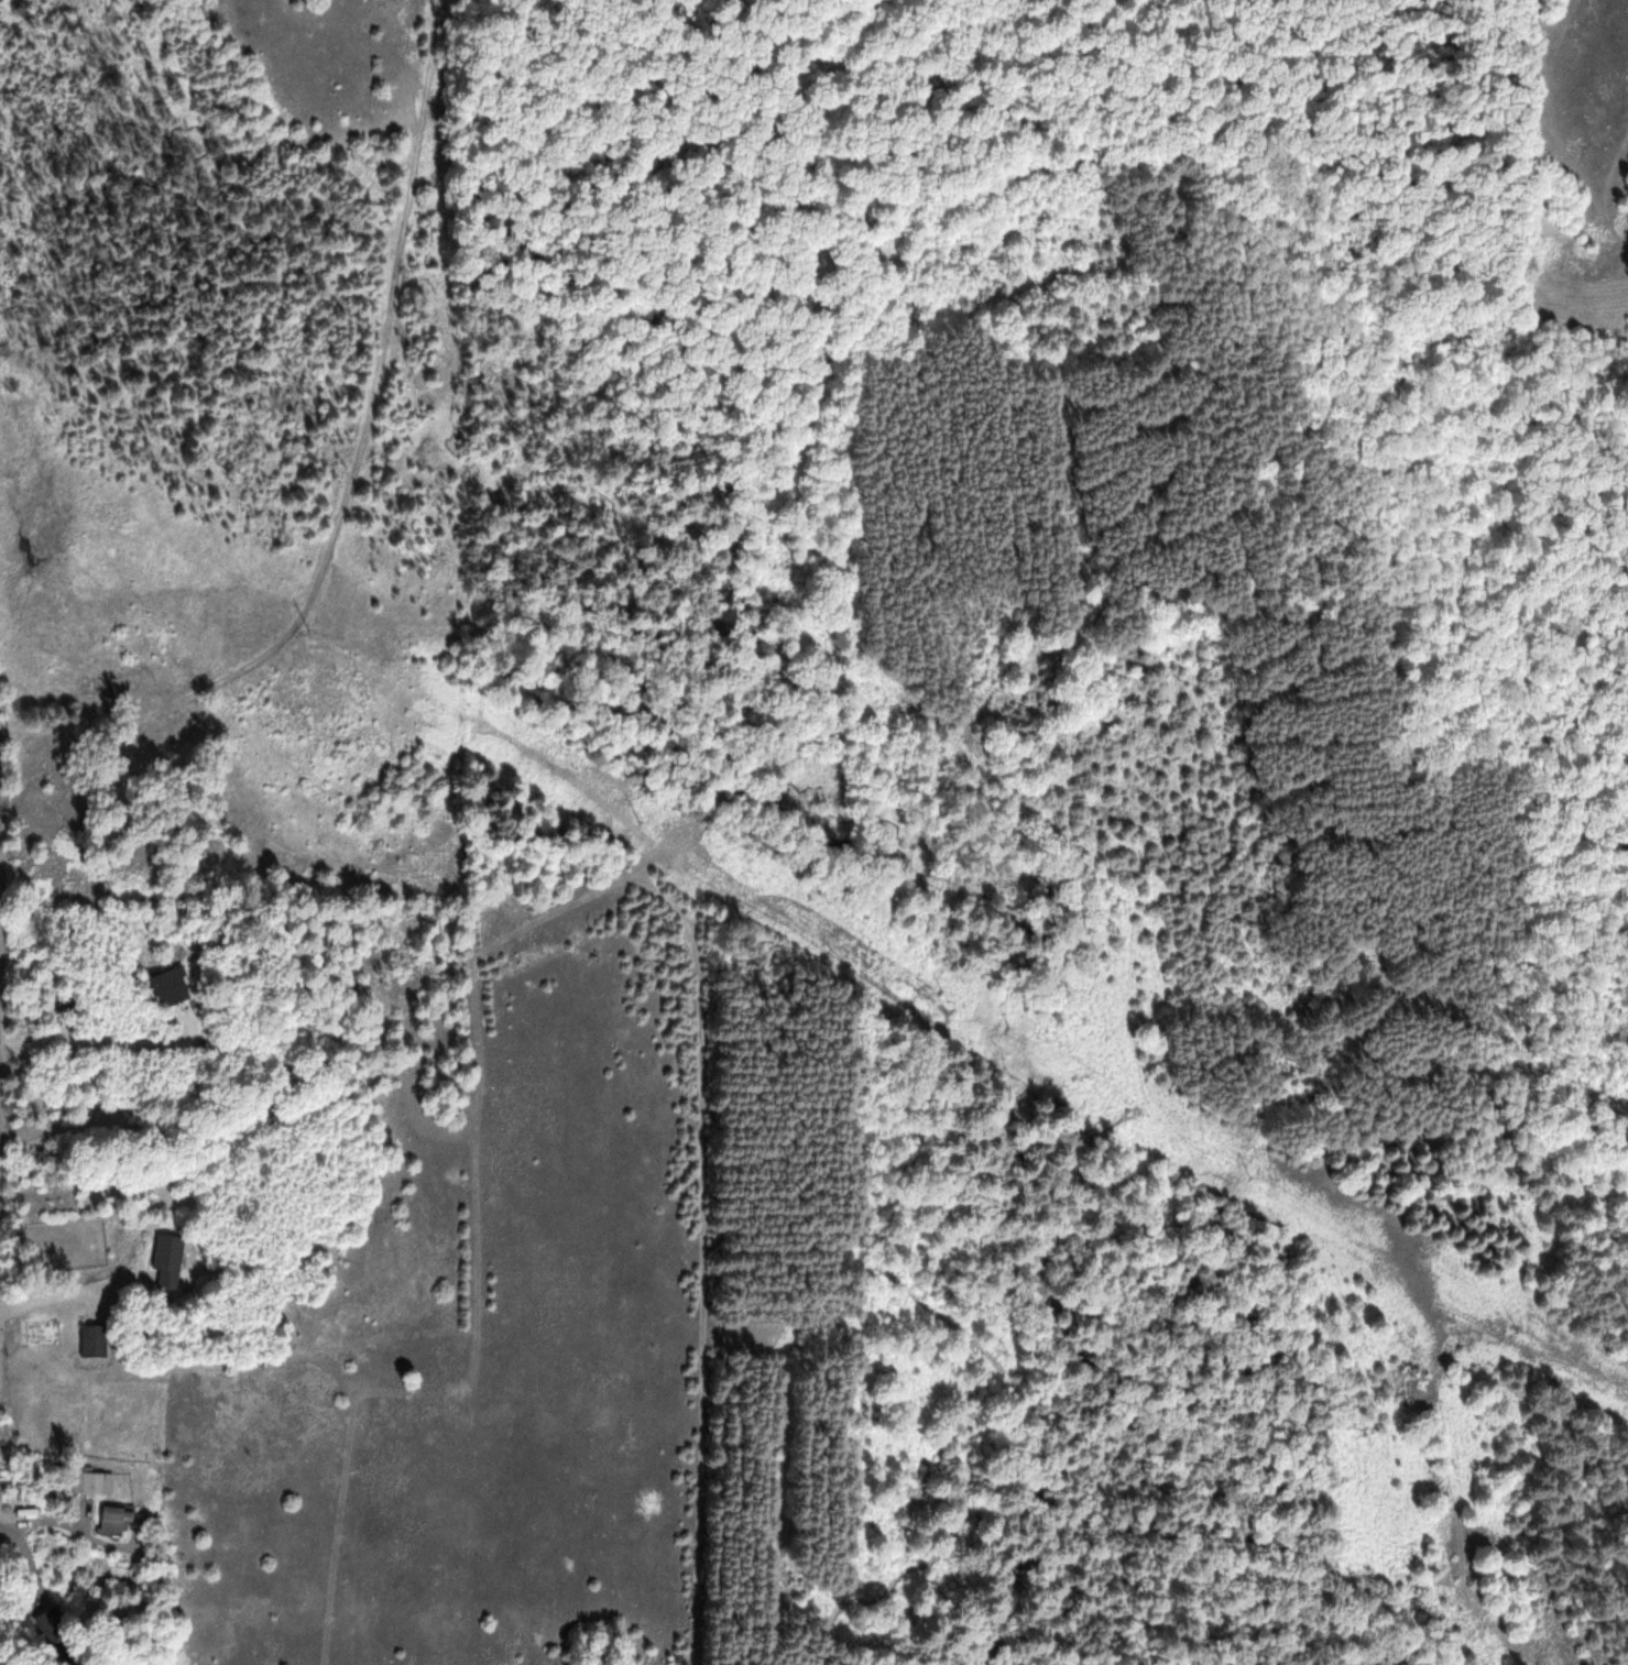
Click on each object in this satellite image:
building: (167, 1262)
building: (94, 1341)
building: (92, 1482)
building: (117, 1518)

